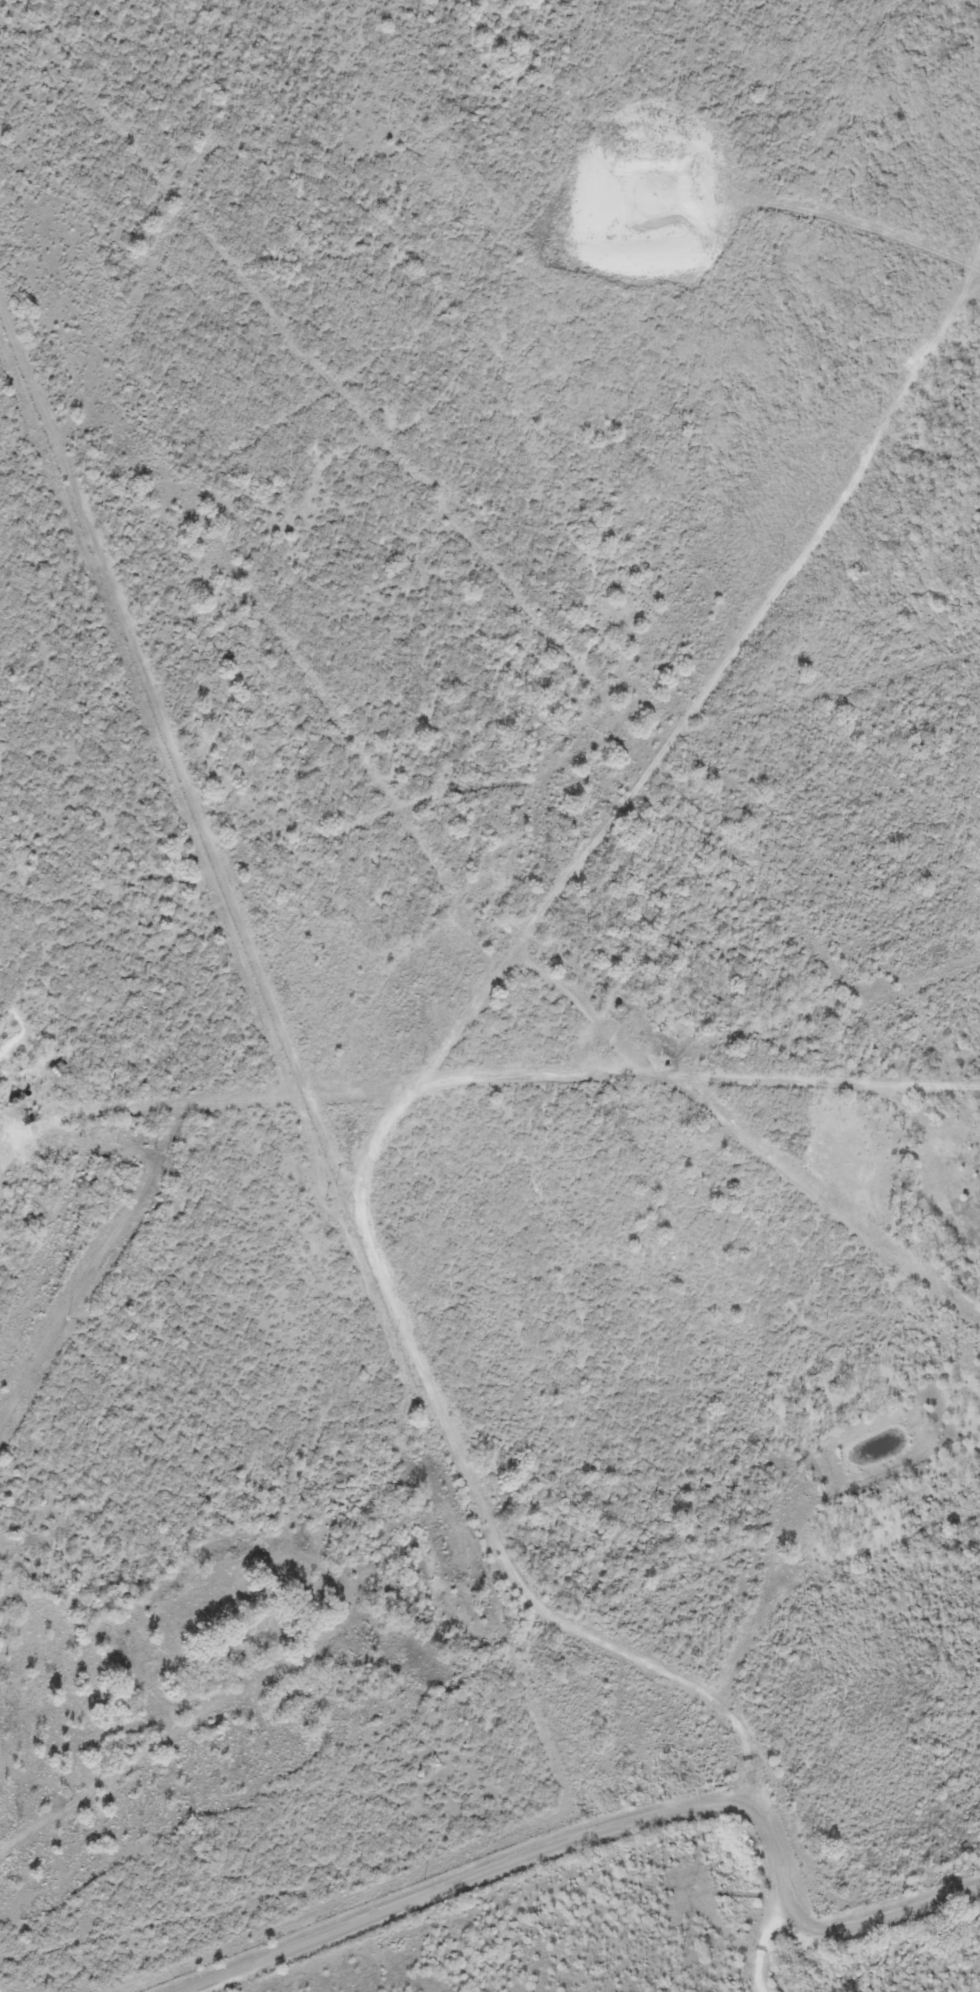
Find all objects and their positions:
road: (610, 1830)

